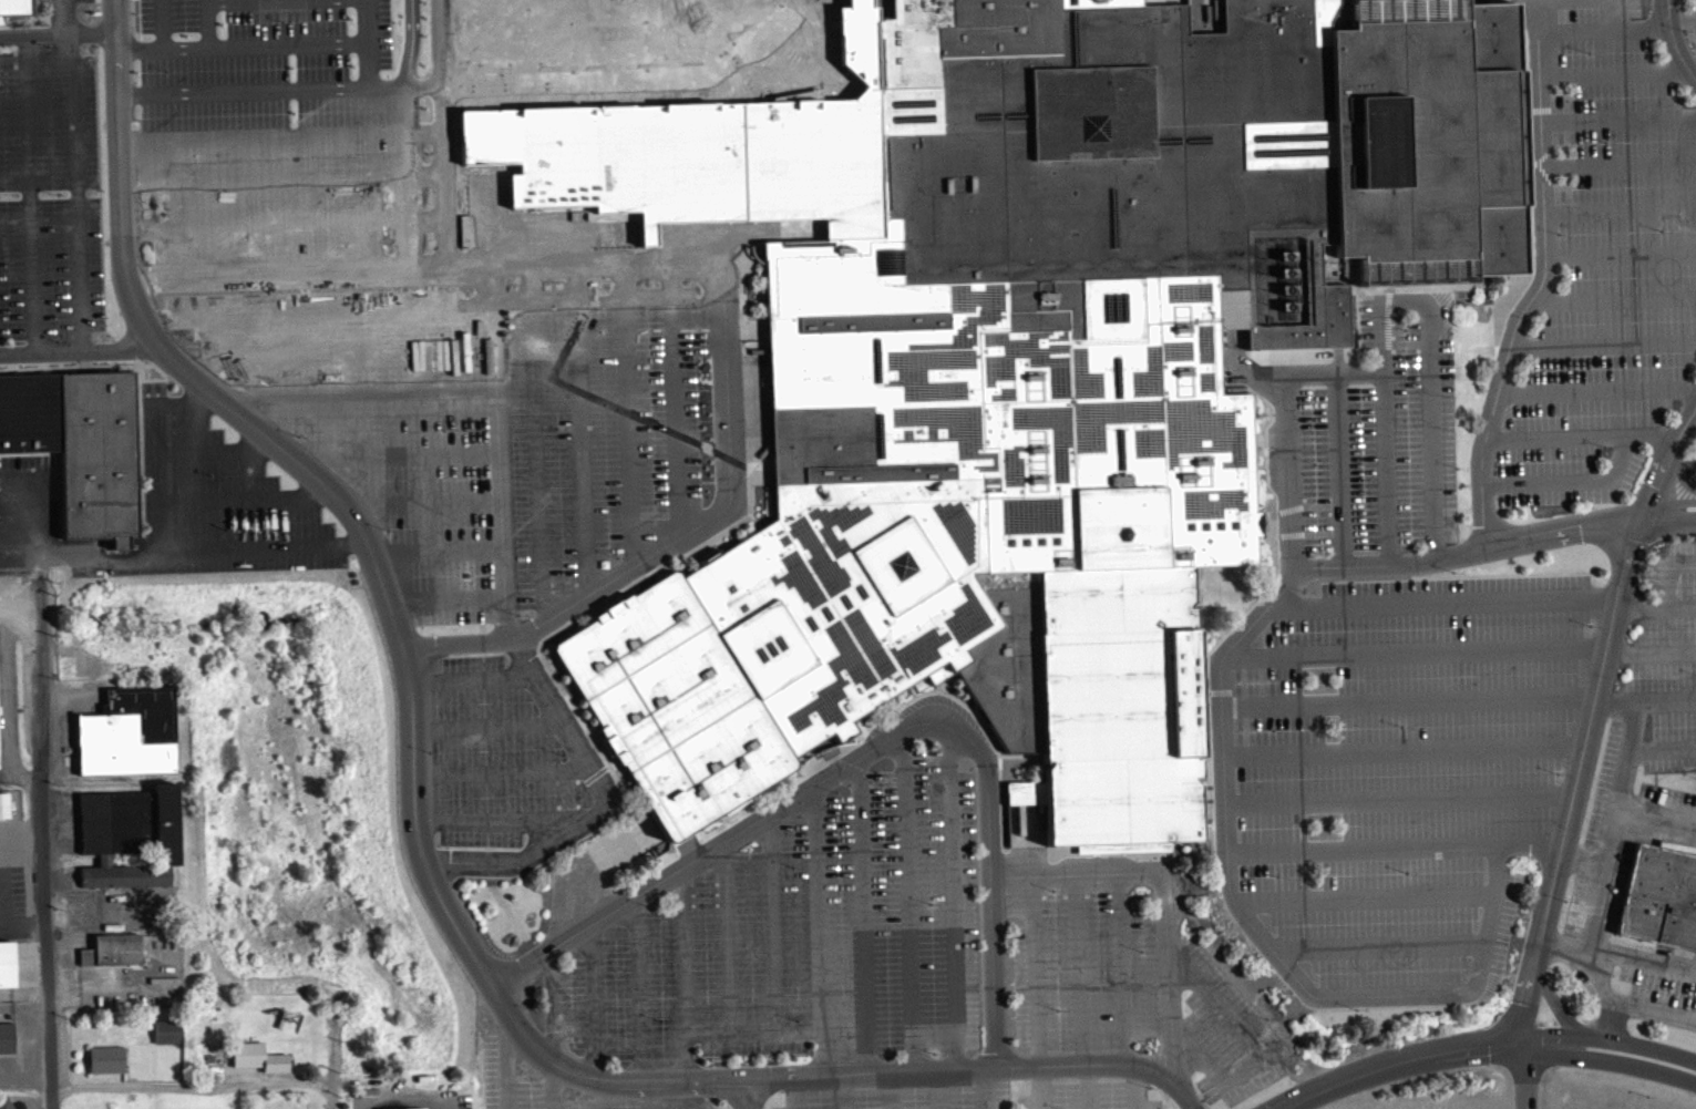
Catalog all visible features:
road: (219, 0)
building: (13, 7)
parking lot: (1692, 19)
road: (206, 23)
road: (162, 24)
building: (1000, 28)
road: (1617, 28)
road: (56, 31)
road: (1675, 41)
road: (412, 42)
road: (369, 43)
road: (241, 44)
road: (1618, 69)
road: (261, 92)
road: (1620, 115)
road: (405, 116)
parking lot: (263, 127)
road: (261, 136)
building: (1428, 140)
building: (705, 152)
road: (1620, 161)
road: (73, 174)
parking lot: (50, 178)
road: (263, 179)
road: (30, 192)
road: (1622, 208)
road: (263, 225)
road: (1623, 251)
parking lot: (1601, 260)
road: (722, 266)
road: (1539, 292)
road: (1615, 296)
road: (1406, 302)
road: (319, 314)
building: (1028, 339)
road: (1603, 343)
road: (79, 350)
road: (338, 360)
road: (1336, 371)
road: (1596, 388)
road: (677, 398)
road: (366, 405)
parking lot: (372, 411)
road: (629, 412)
parking lot: (603, 419)
road: (582, 429)
road: (1684, 432)
parking lot: (1374, 435)
road: (1583, 438)
building: (76, 443)
road: (536, 443)
road: (212, 450)
road: (392, 455)
road: (1342, 468)
road: (1680, 473)
road: (1571, 482)
parking lot: (217, 497)
road: (239, 497)
road: (421, 502)
road: (1668, 504)
road: (1669, 521)
road: (154, 548)
road: (434, 551)
road: (1467, 551)
road: (60, 552)
road: (1665, 587)
road: (442, 598)
road: (1443, 598)
road: (384, 599)
road: (1640, 606)
road: (1651, 648)
road: (508, 649)
road: (1415, 650)
road: (467, 677)
road: (1667, 700)
building: (1098, 701)
road: (1407, 702)
building: (670, 705)
road: (485, 726)
building: (127, 738)
parking lot: (1643, 742)
road: (1663, 746)
road: (1401, 751)
parking lot: (490, 756)
parking lot: (1404, 770)
road: (500, 771)
road: (1575, 776)
road: (1397, 801)
road: (1617, 802)
building: (2, 810)
road: (1656, 812)
road: (489, 821)
road: (989, 836)
building: (127, 842)
road: (1360, 849)
road: (1581, 858)
road: (44, 863)
road: (677, 867)
road: (1226, 870)
road: (1162, 892)
road: (954, 895)
road: (1365, 897)
building: (1659, 897)
road: (907, 900)
road: (863, 913)
road: (773, 921)
road: (819, 927)
road: (727, 935)
parking lot: (801, 942)
road: (1562, 942)
road: (1379, 947)
building: (111, 955)
road: (1641, 959)
road: (1120, 966)
road: (1078, 968)
building: (6, 969)
road: (1035, 969)
road: (683, 971)
parking lot: (1131, 977)
parking lot: (1634, 978)
road: (1555, 1000)
road: (1626, 1000)
road: (638, 1002)
road: (596, 1014)
road: (1616, 1020)
road: (754, 1031)
building: (6, 1036)
building: (164, 1037)
road: (1256, 1047)
road: (1634, 1047)
road: (506, 1051)
road: (1422, 1054)
building: (257, 1062)
building: (104, 1064)
road: (1039, 1064)
road: (1634, 1064)
parking lot: (502, 1065)
road: (808, 1072)
road: (555, 1081)
road: (1087, 1086)
road: (193, 1087)
road: (986, 1087)
road: (1039, 1087)
road: (1133, 1087)
road: (935, 1088)
road: (891, 1089)
road: (843, 1090)
road: (795, 1091)
road: (332, 1093)
road: (697, 1093)
road: (750, 1093)
parking lot: (1087, 1093)
parking lot: (903, 1095)
road: (402, 1100)
building: (6, 1102)
building: (404, 1108)

